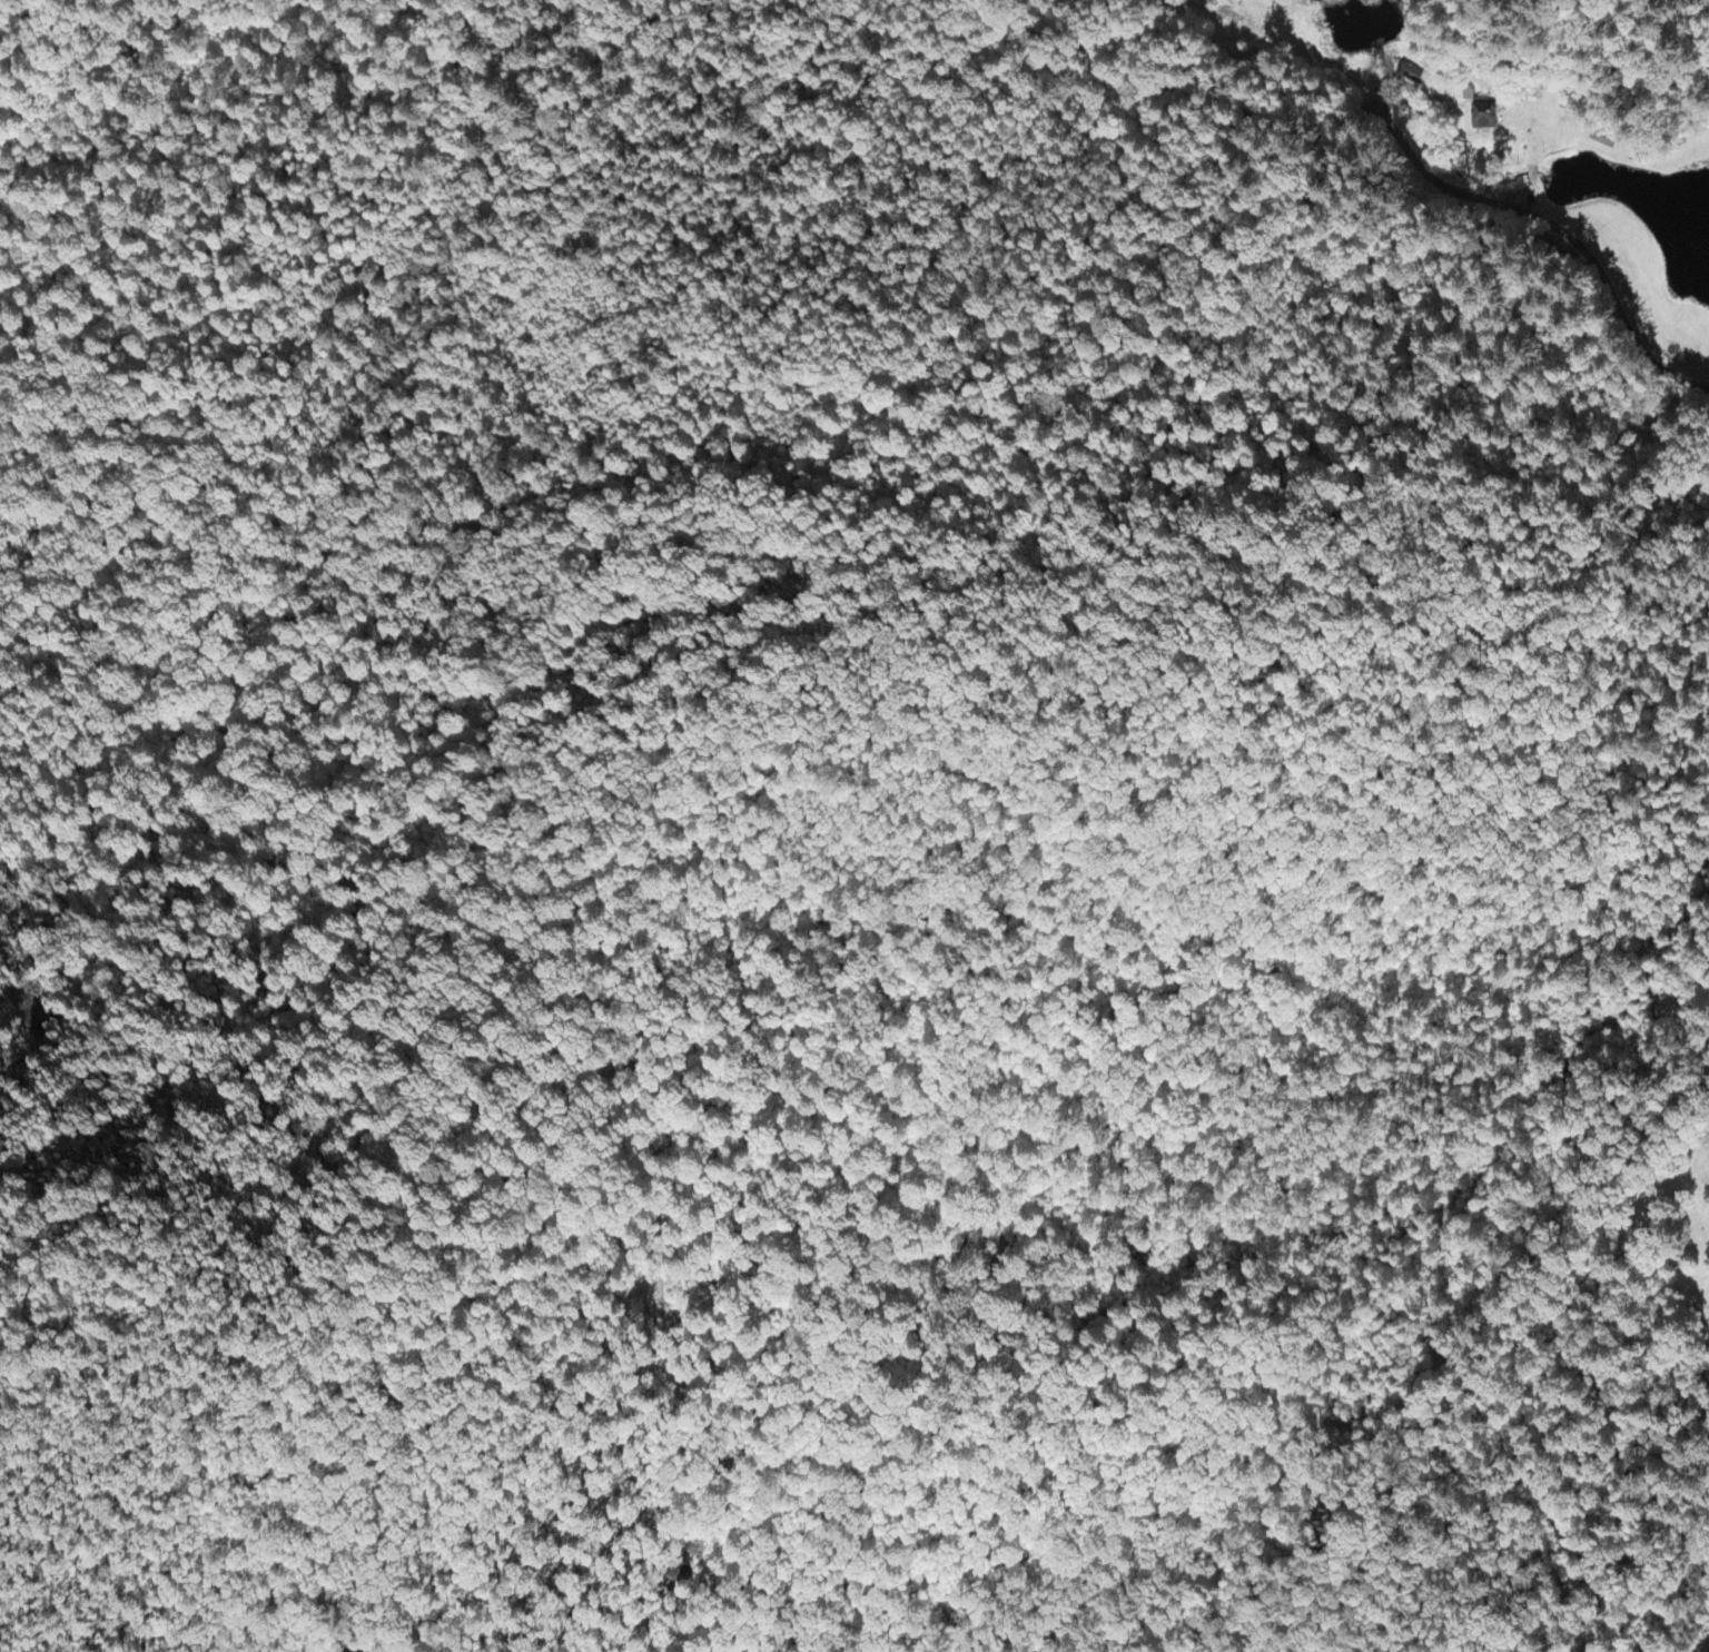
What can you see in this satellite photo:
dam: (1341, 58)
building: (1485, 116)
road: (155, 1411)

